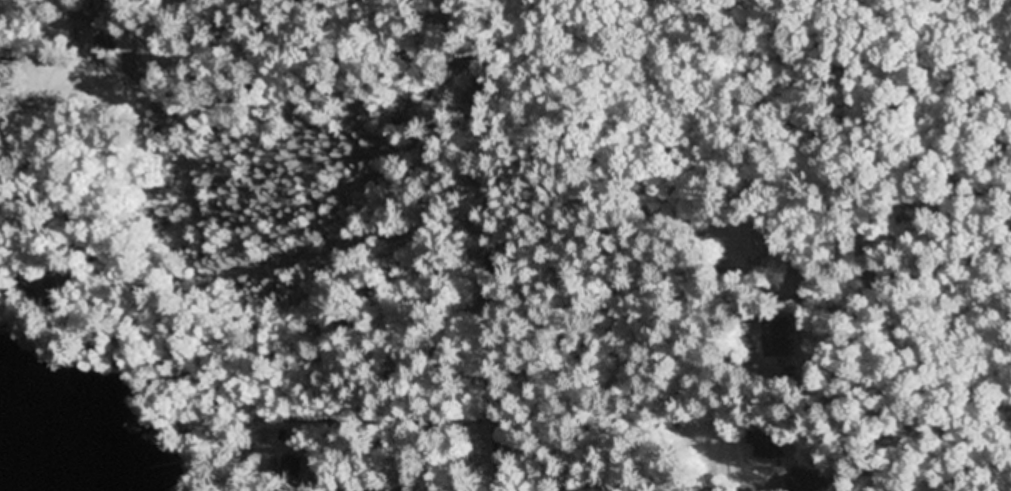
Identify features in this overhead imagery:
building: (102, 28)
road: (255, 54)
building: (5, 101)
building: (171, 118)
road: (498, 242)
building: (756, 242)
building: (166, 275)
building: (797, 285)
building: (49, 287)
building: (781, 336)
building: (283, 435)
building: (765, 443)
building: (293, 472)
building: (804, 481)

